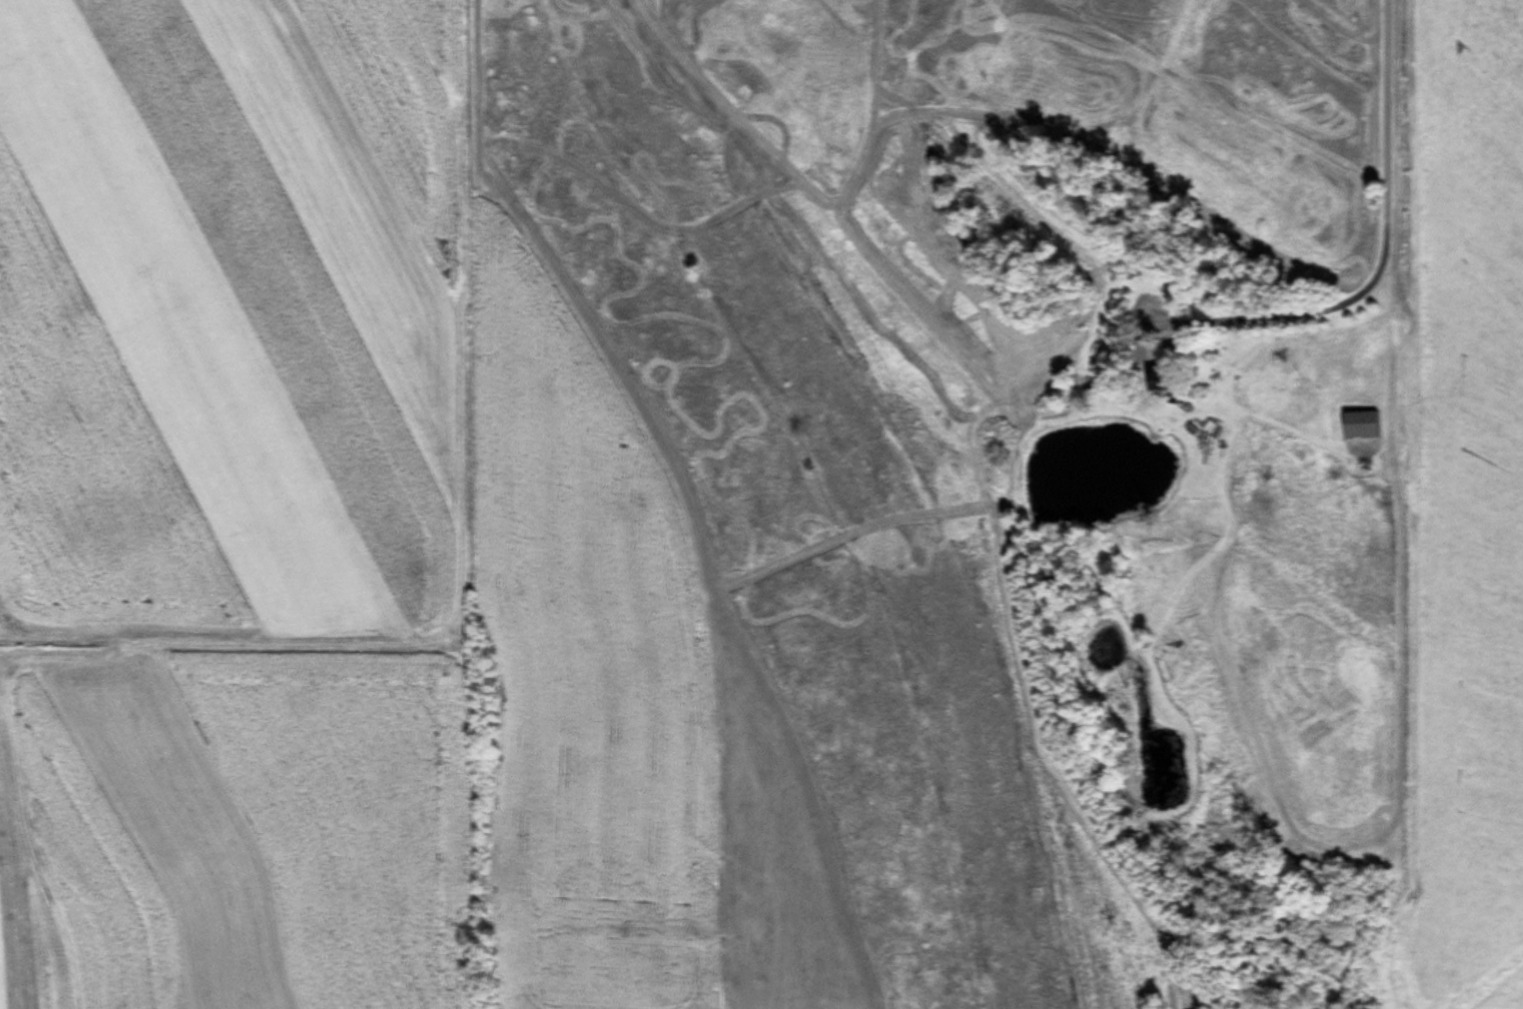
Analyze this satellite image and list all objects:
road: (1410, 231)
building: (1147, 365)
building: (1358, 425)

